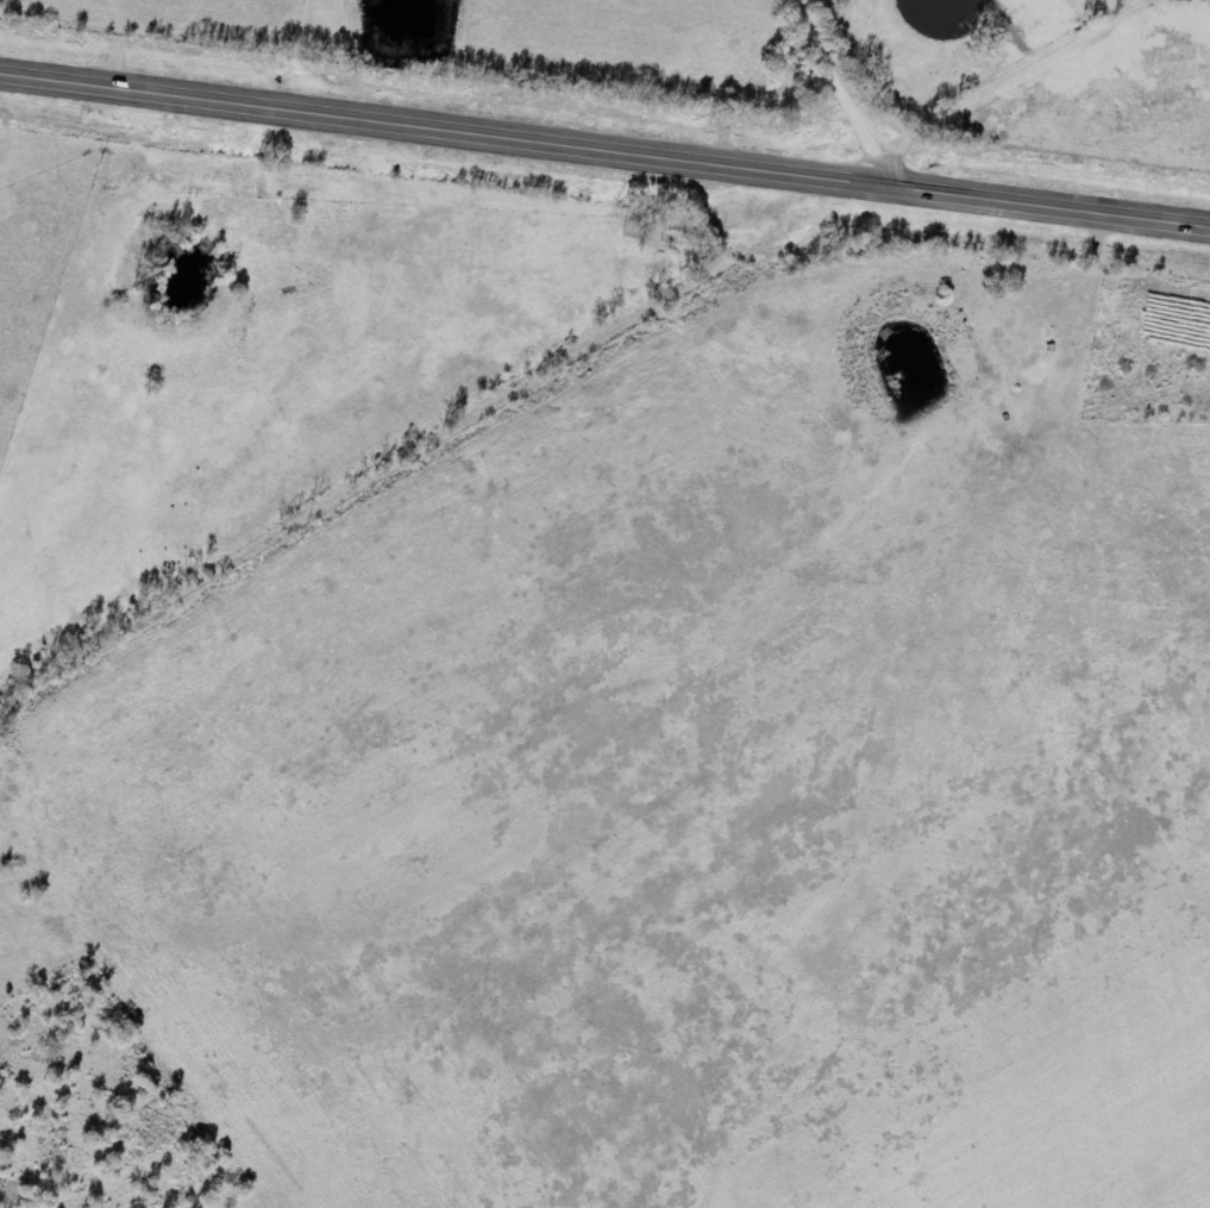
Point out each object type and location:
road: (847, 86)
road: (1014, 87)
road: (604, 137)

